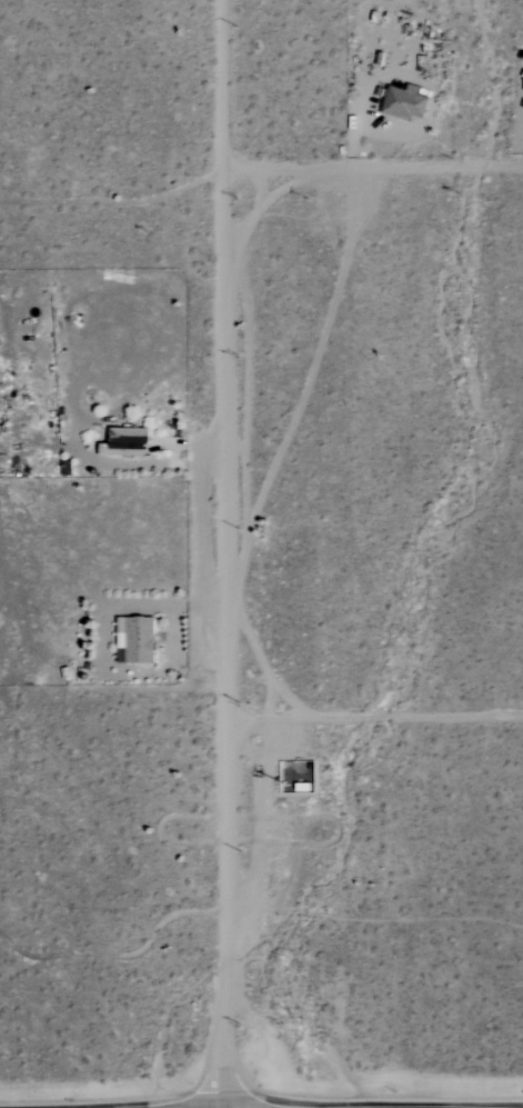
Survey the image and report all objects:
building: (405, 102)
road: (373, 161)
building: (127, 441)
road: (232, 553)
building: (137, 639)
road: (379, 717)

